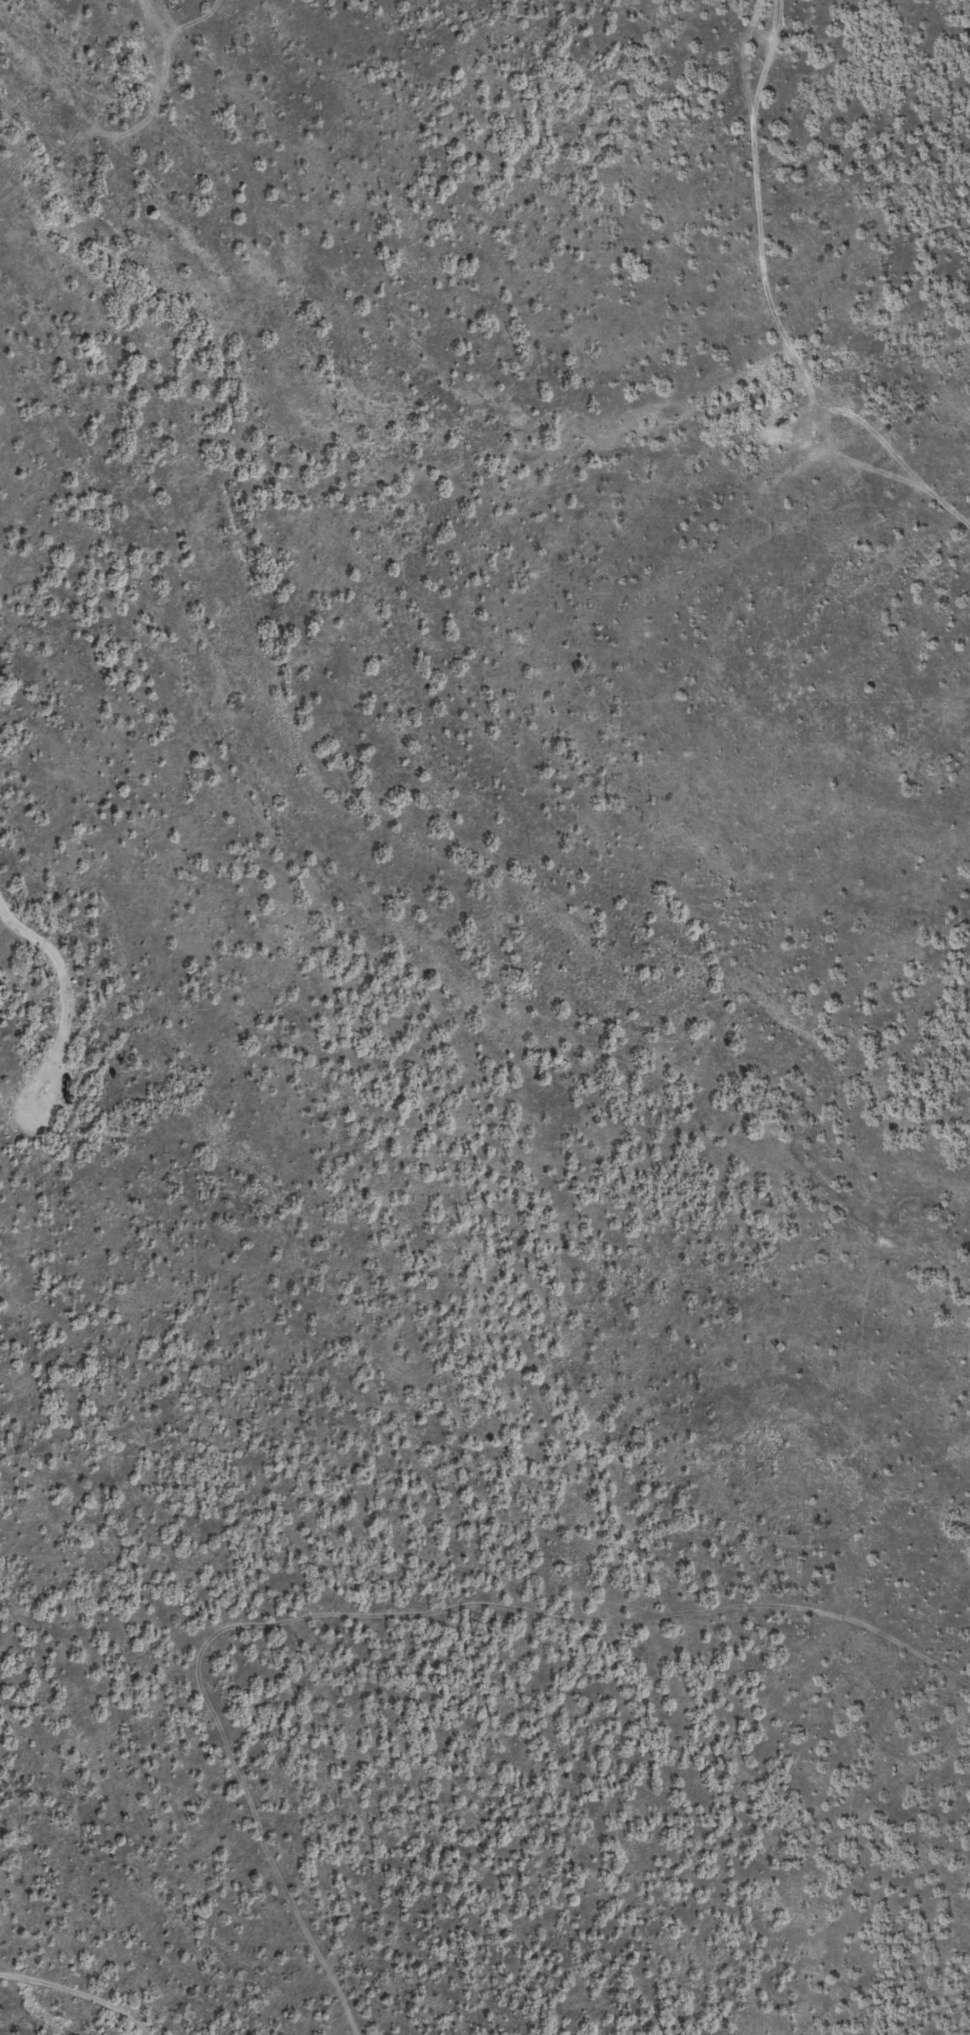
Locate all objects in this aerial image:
road: (64, 999)
road: (78, 1994)

